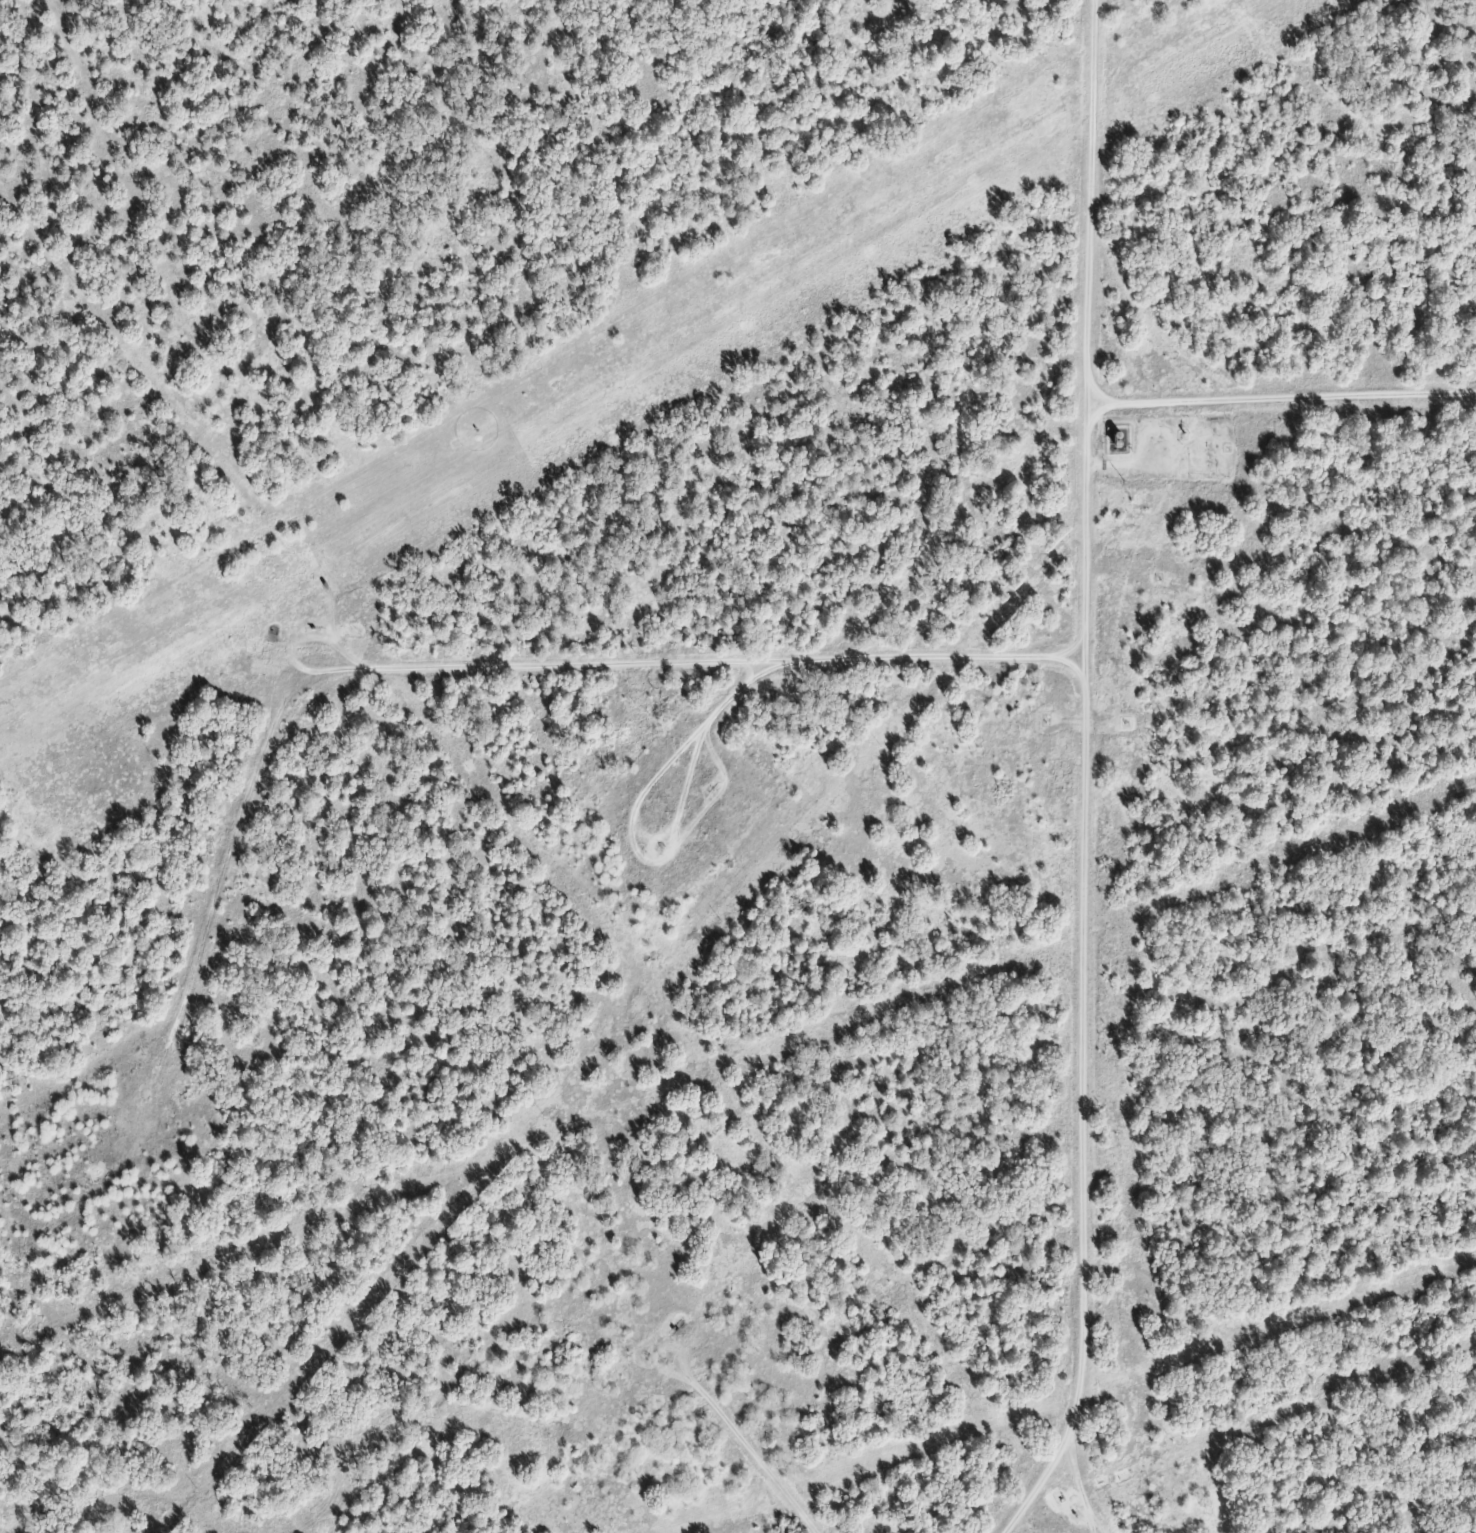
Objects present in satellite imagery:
road: (1286, 393)
road: (1141, 561)
road: (696, 664)
road: (1085, 776)
road: (742, 1435)

